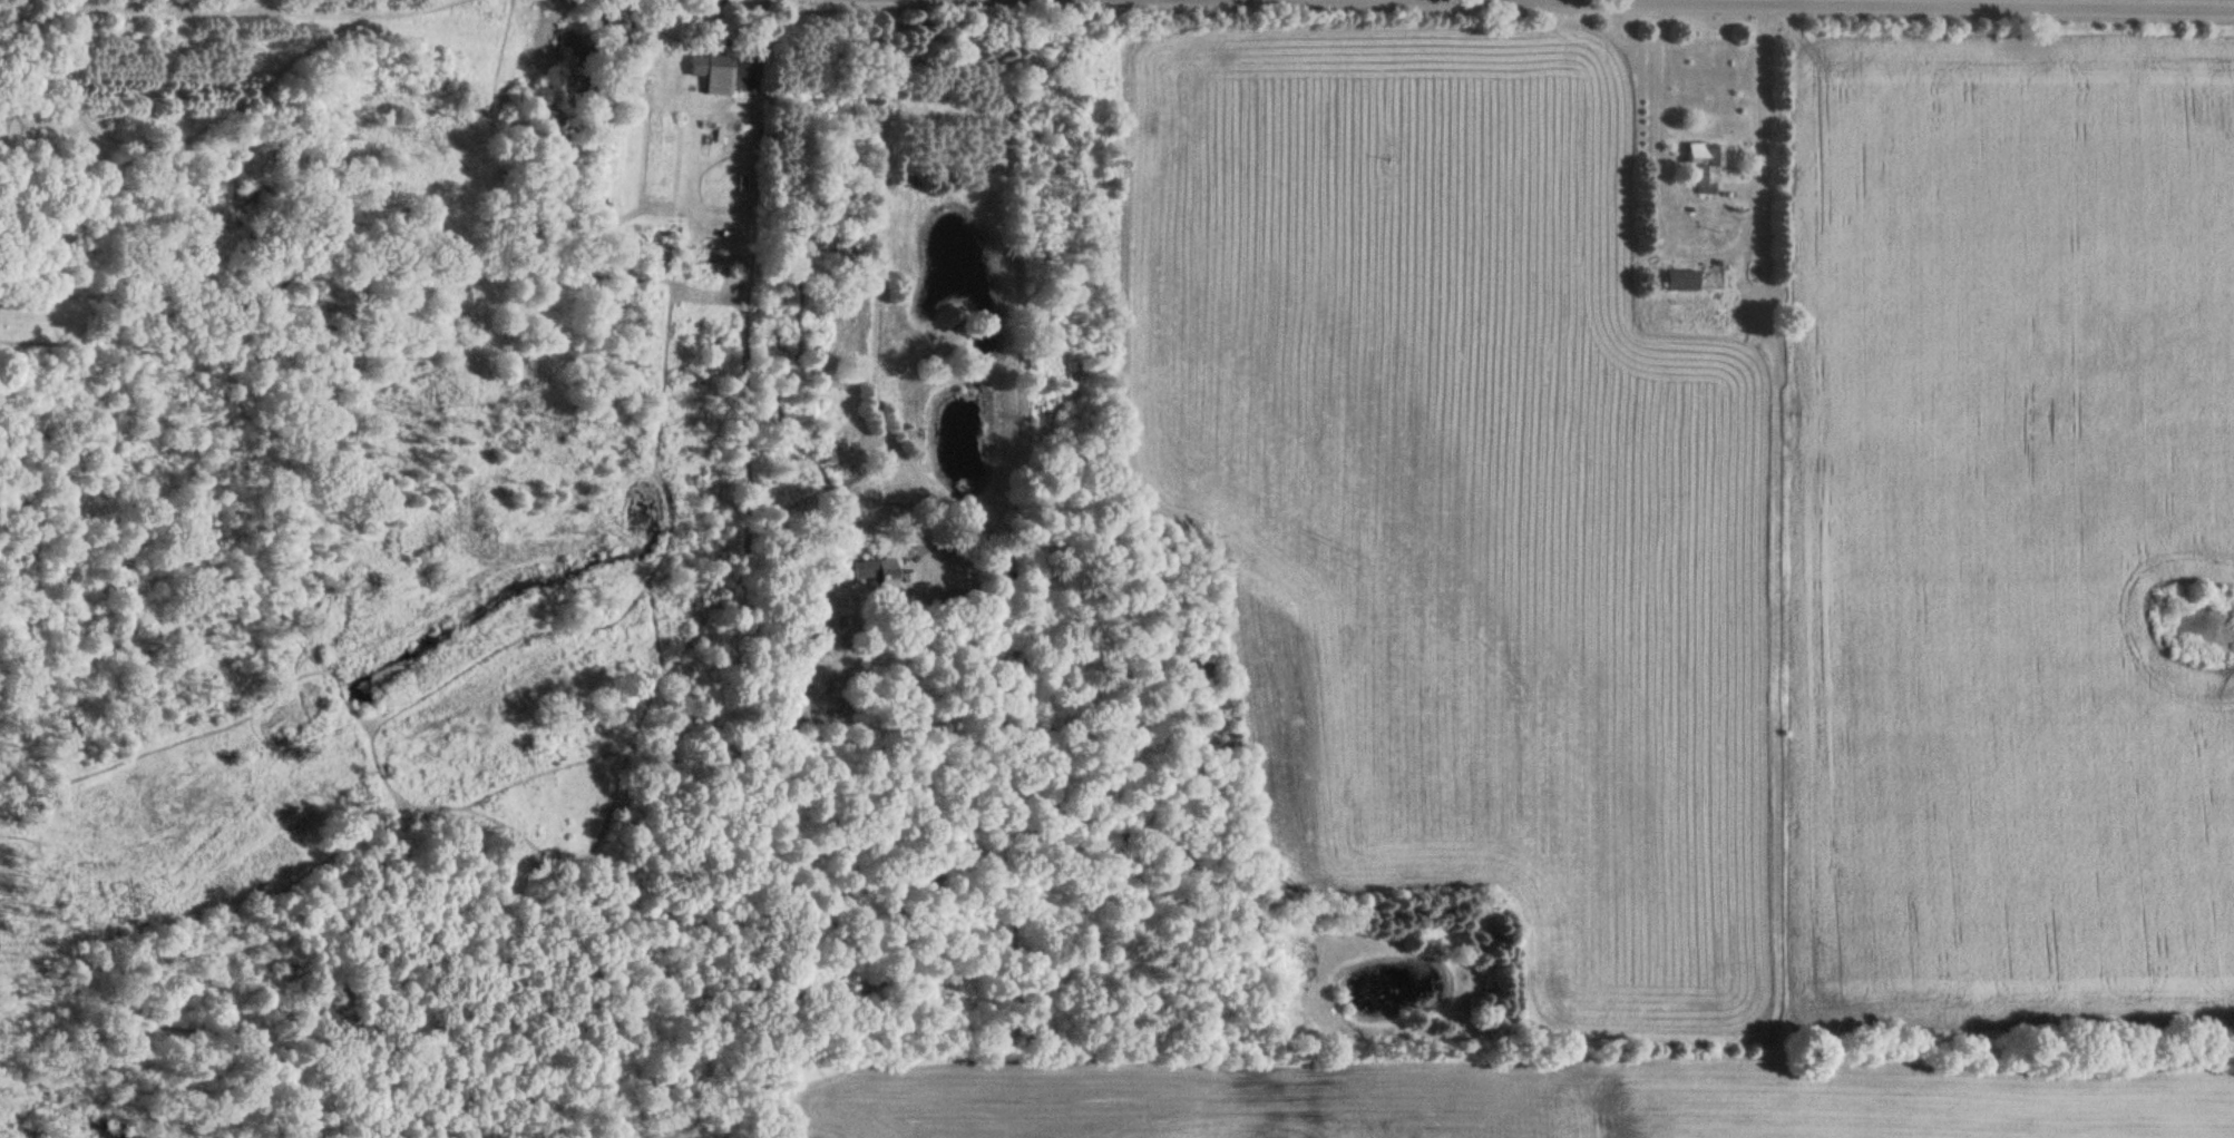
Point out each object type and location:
road: (1903, 3)
building: (714, 71)
road: (1758, 98)
building: (1706, 164)
building: (1684, 279)
road: (874, 284)
building: (968, 559)
building: (884, 573)
building: (1489, 978)

